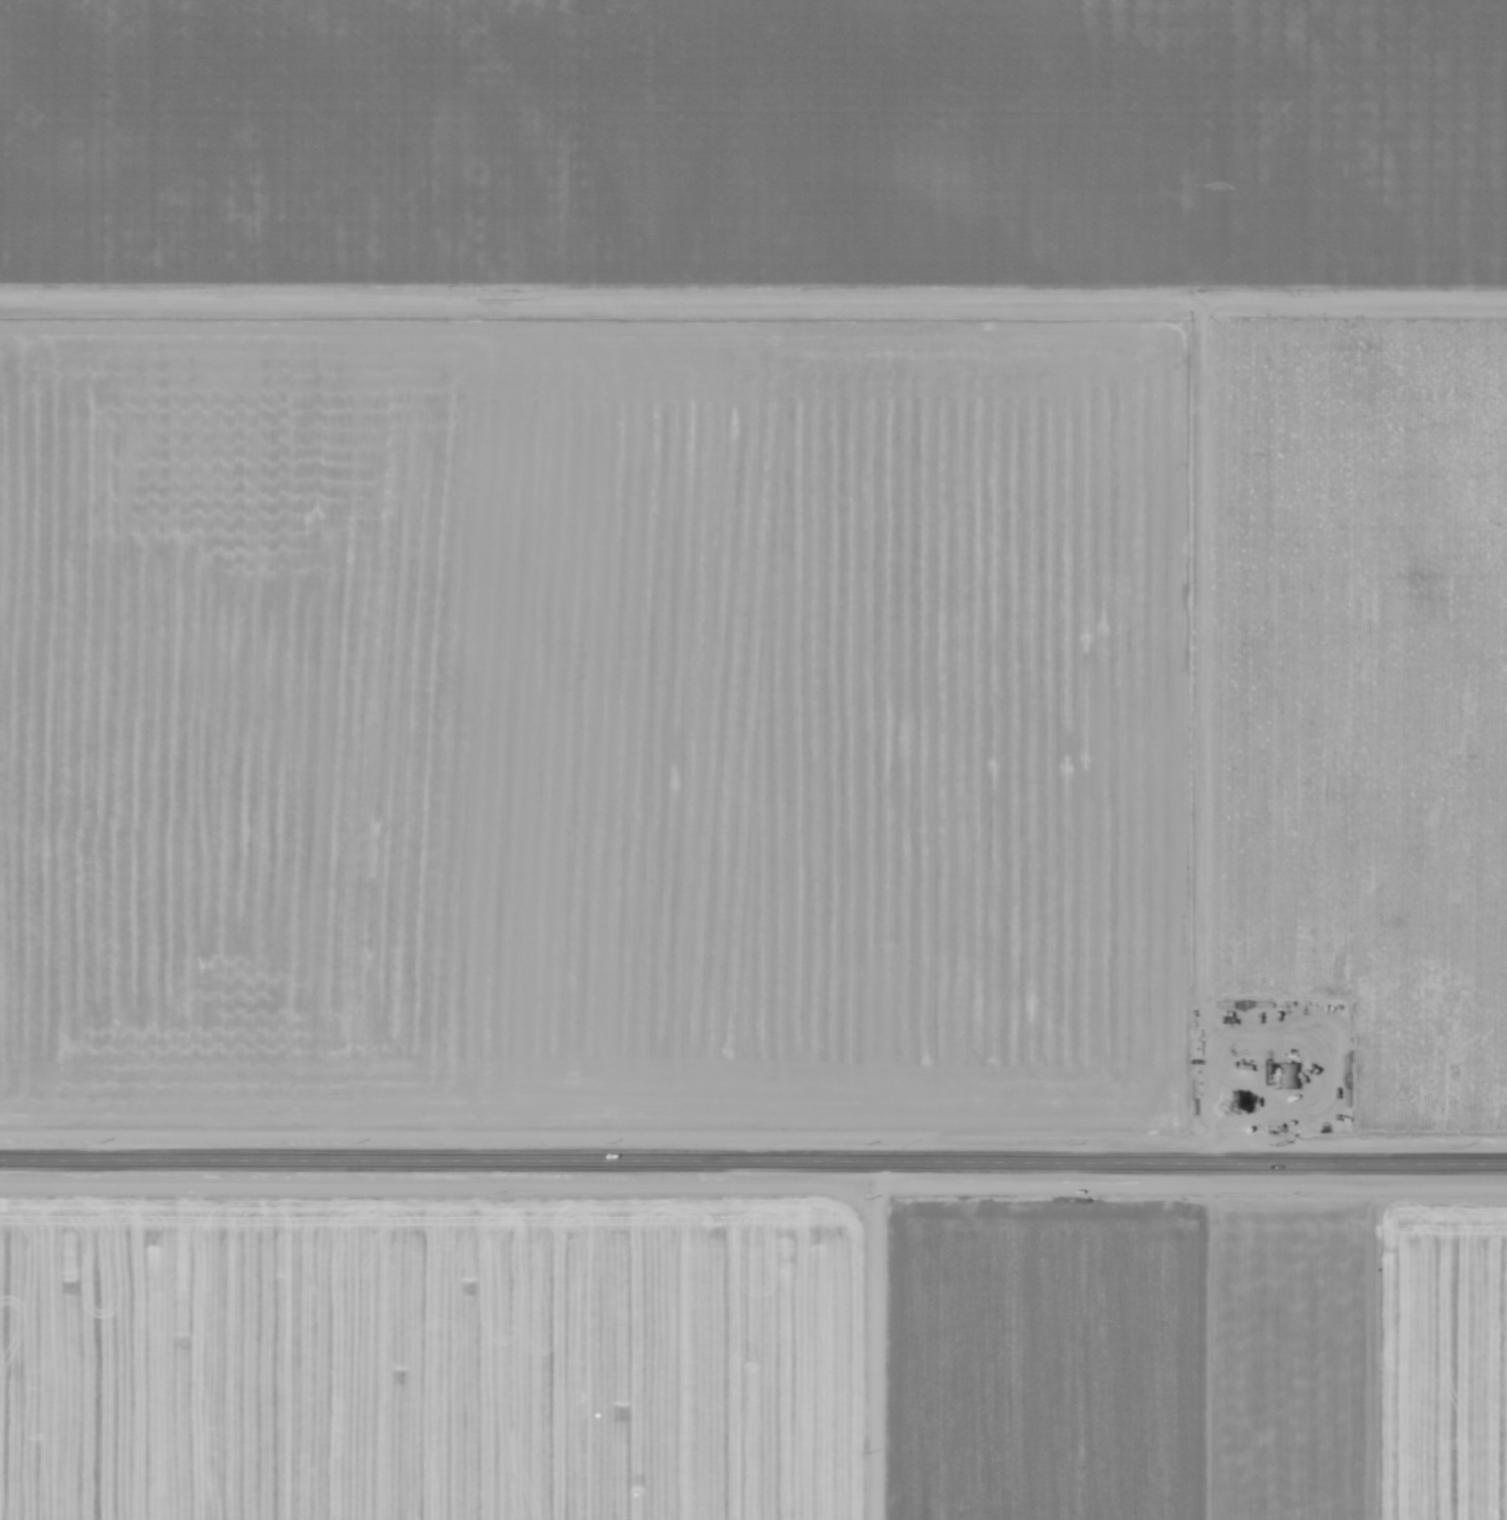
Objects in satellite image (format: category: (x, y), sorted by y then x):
road: (753, 293)
road: (1193, 726)
road: (753, 1160)
road: (843, 1340)
crop: (752, 1349)

